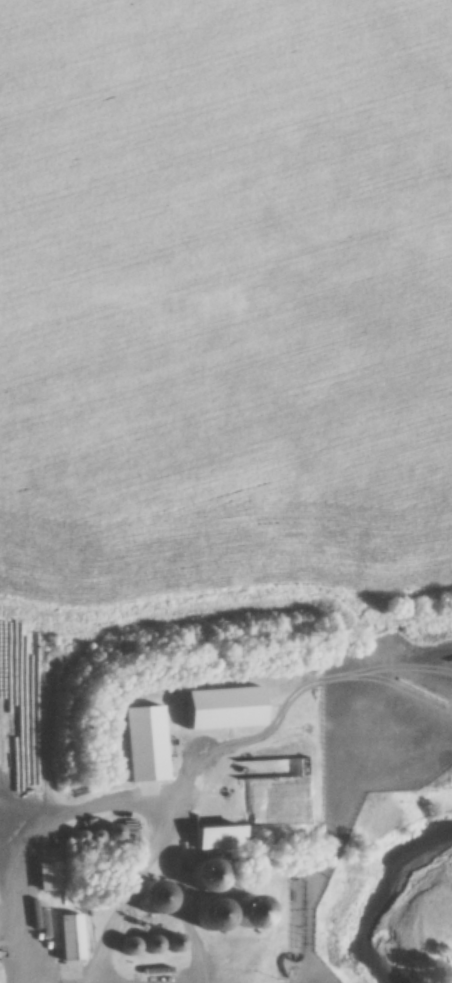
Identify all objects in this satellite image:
building: (223, 710)
building: (145, 746)
road: (59, 814)
building: (206, 878)
road: (114, 902)
road: (172, 907)
building: (247, 913)
building: (212, 918)
building: (70, 939)
road: (4, 946)

